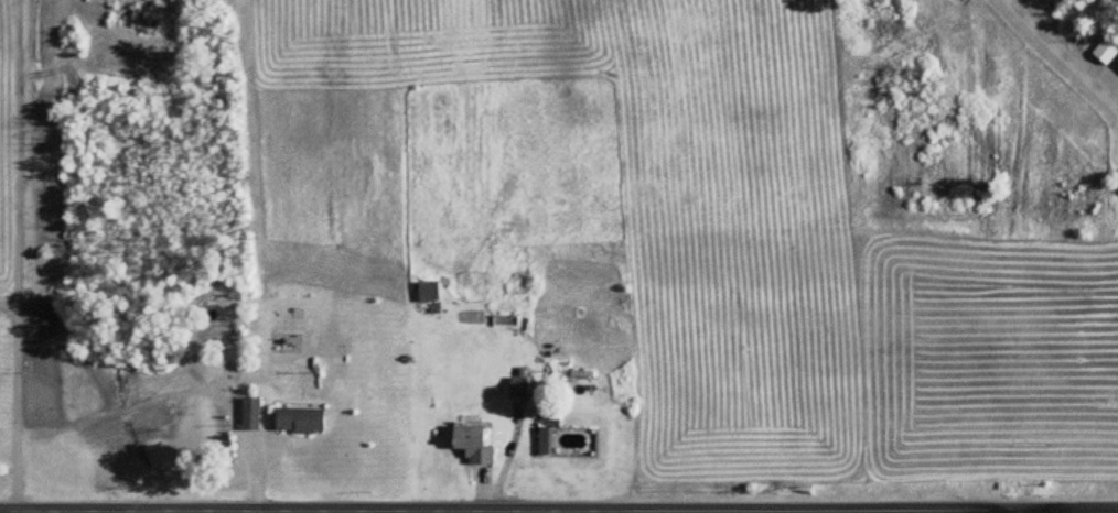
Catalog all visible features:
building: (1106, 51)
road: (1064, 52)
building: (1117, 64)
road: (12, 255)
building: (428, 291)
building: (519, 385)
building: (251, 414)
building: (300, 421)
building: (546, 440)
building: (473, 444)
road: (559, 511)
road: (44, 512)
road: (337, 512)
road: (381, 512)
road: (1010, 512)

